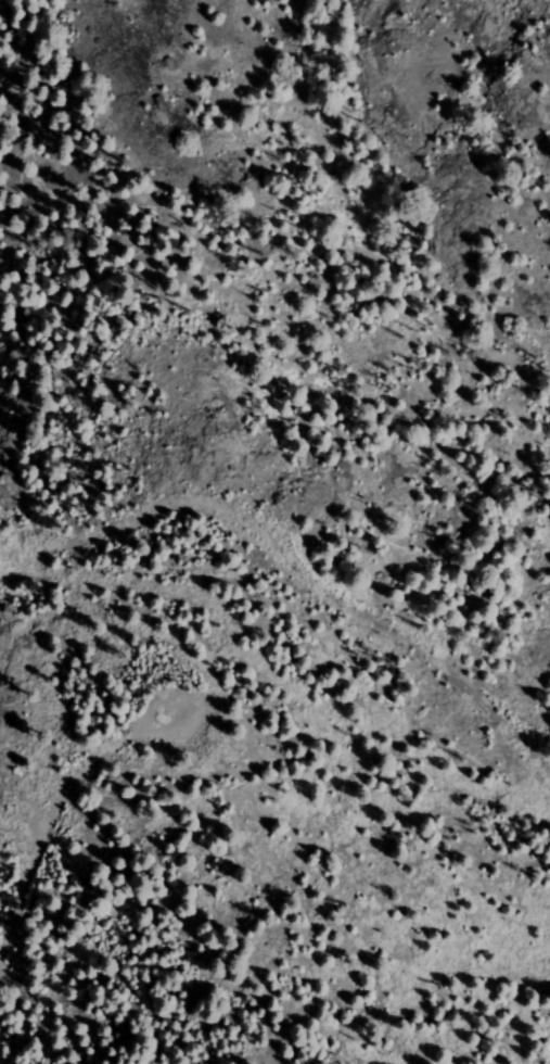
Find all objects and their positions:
road: (50, 819)

